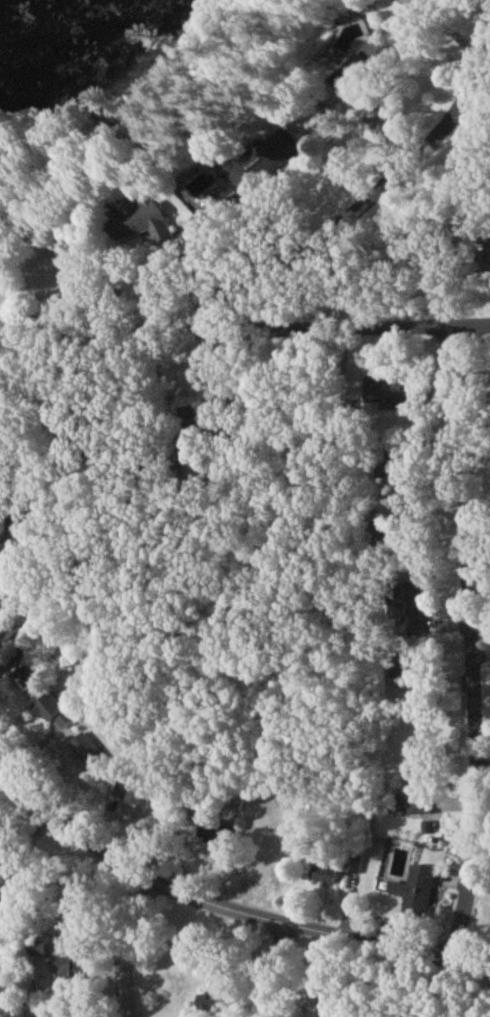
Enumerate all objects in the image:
building: (358, 72)
building: (259, 165)
road: (343, 222)
building: (138, 228)
road: (319, 333)
road: (74, 343)
building: (393, 395)
building: (1, 578)
road: (471, 648)
building: (51, 713)
building: (416, 790)
building: (139, 800)
building: (213, 836)
building: (353, 870)
building: (323, 880)
building: (415, 897)
road: (221, 910)
road: (124, 947)
building: (69, 971)
building: (209, 1006)

